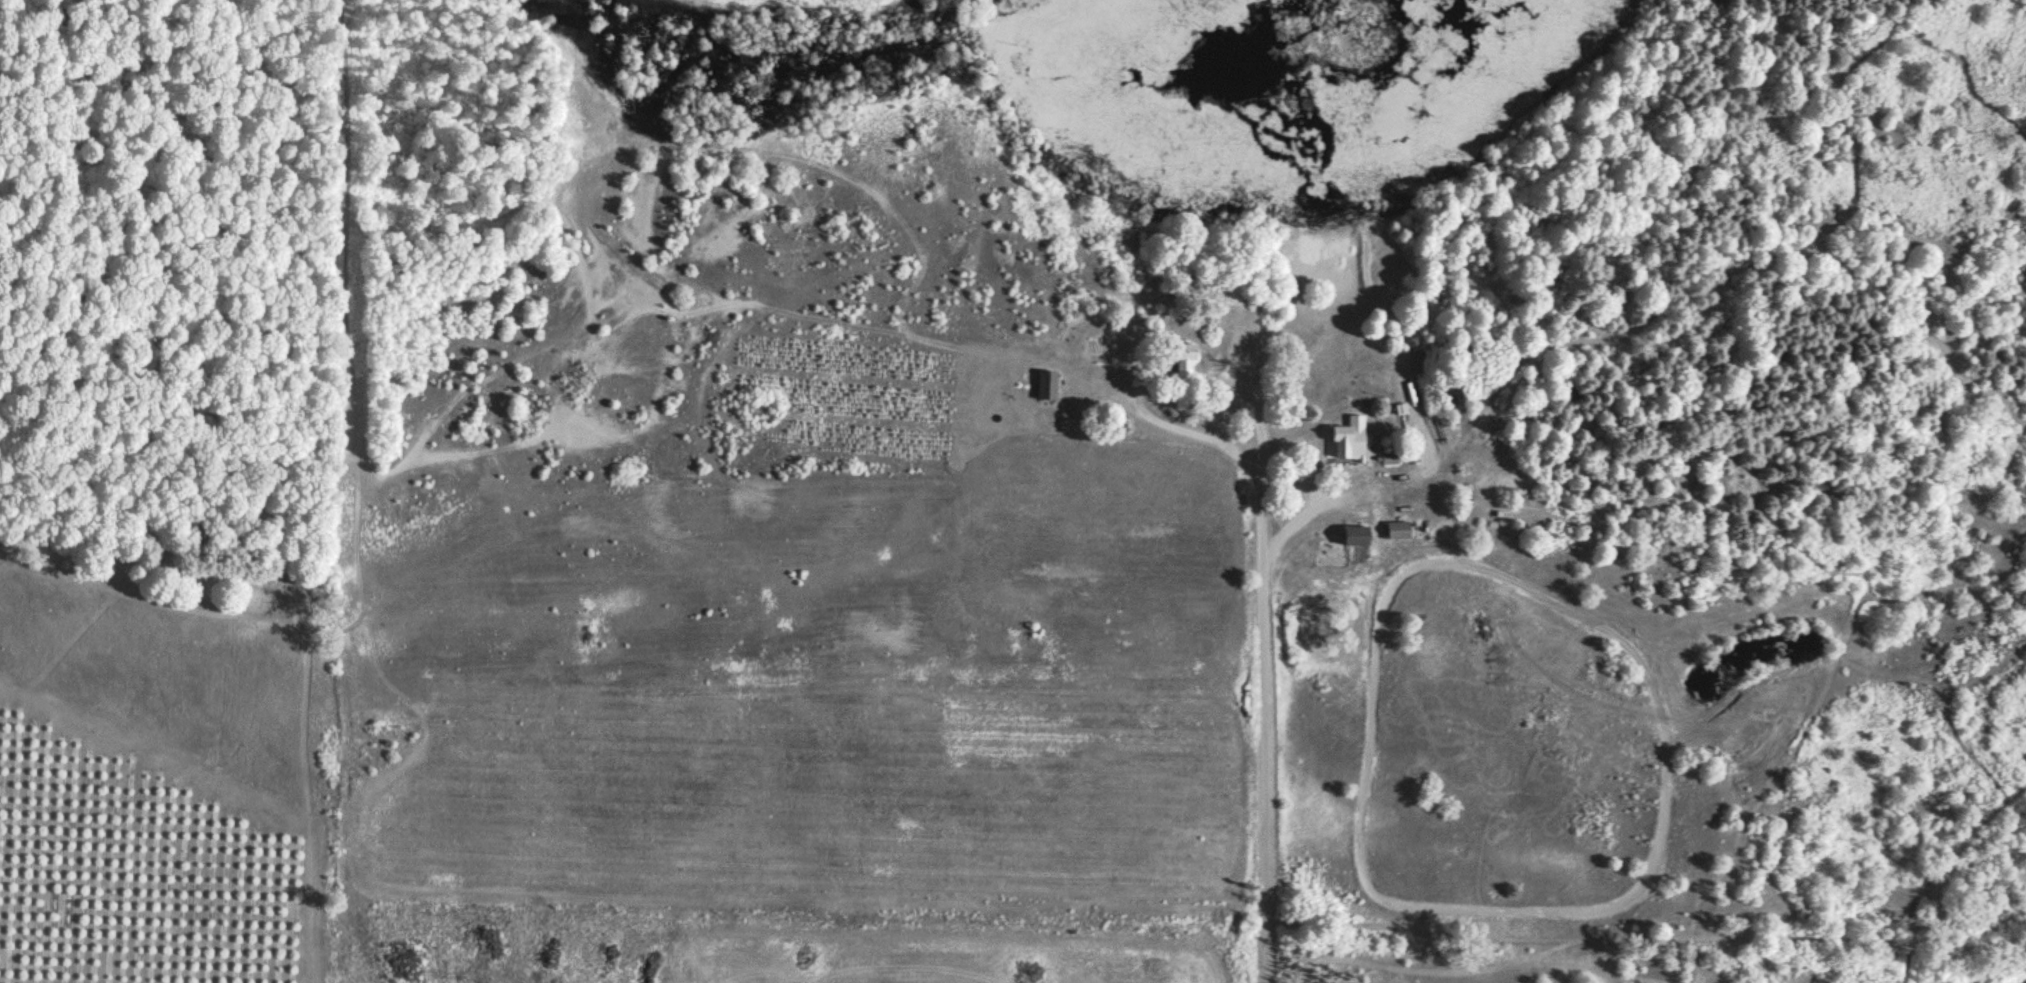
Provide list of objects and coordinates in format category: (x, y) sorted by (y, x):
building: (1180, 362)
building: (1044, 388)
building: (1342, 444)
building: (1396, 531)
building: (1353, 538)
road: (1253, 689)

